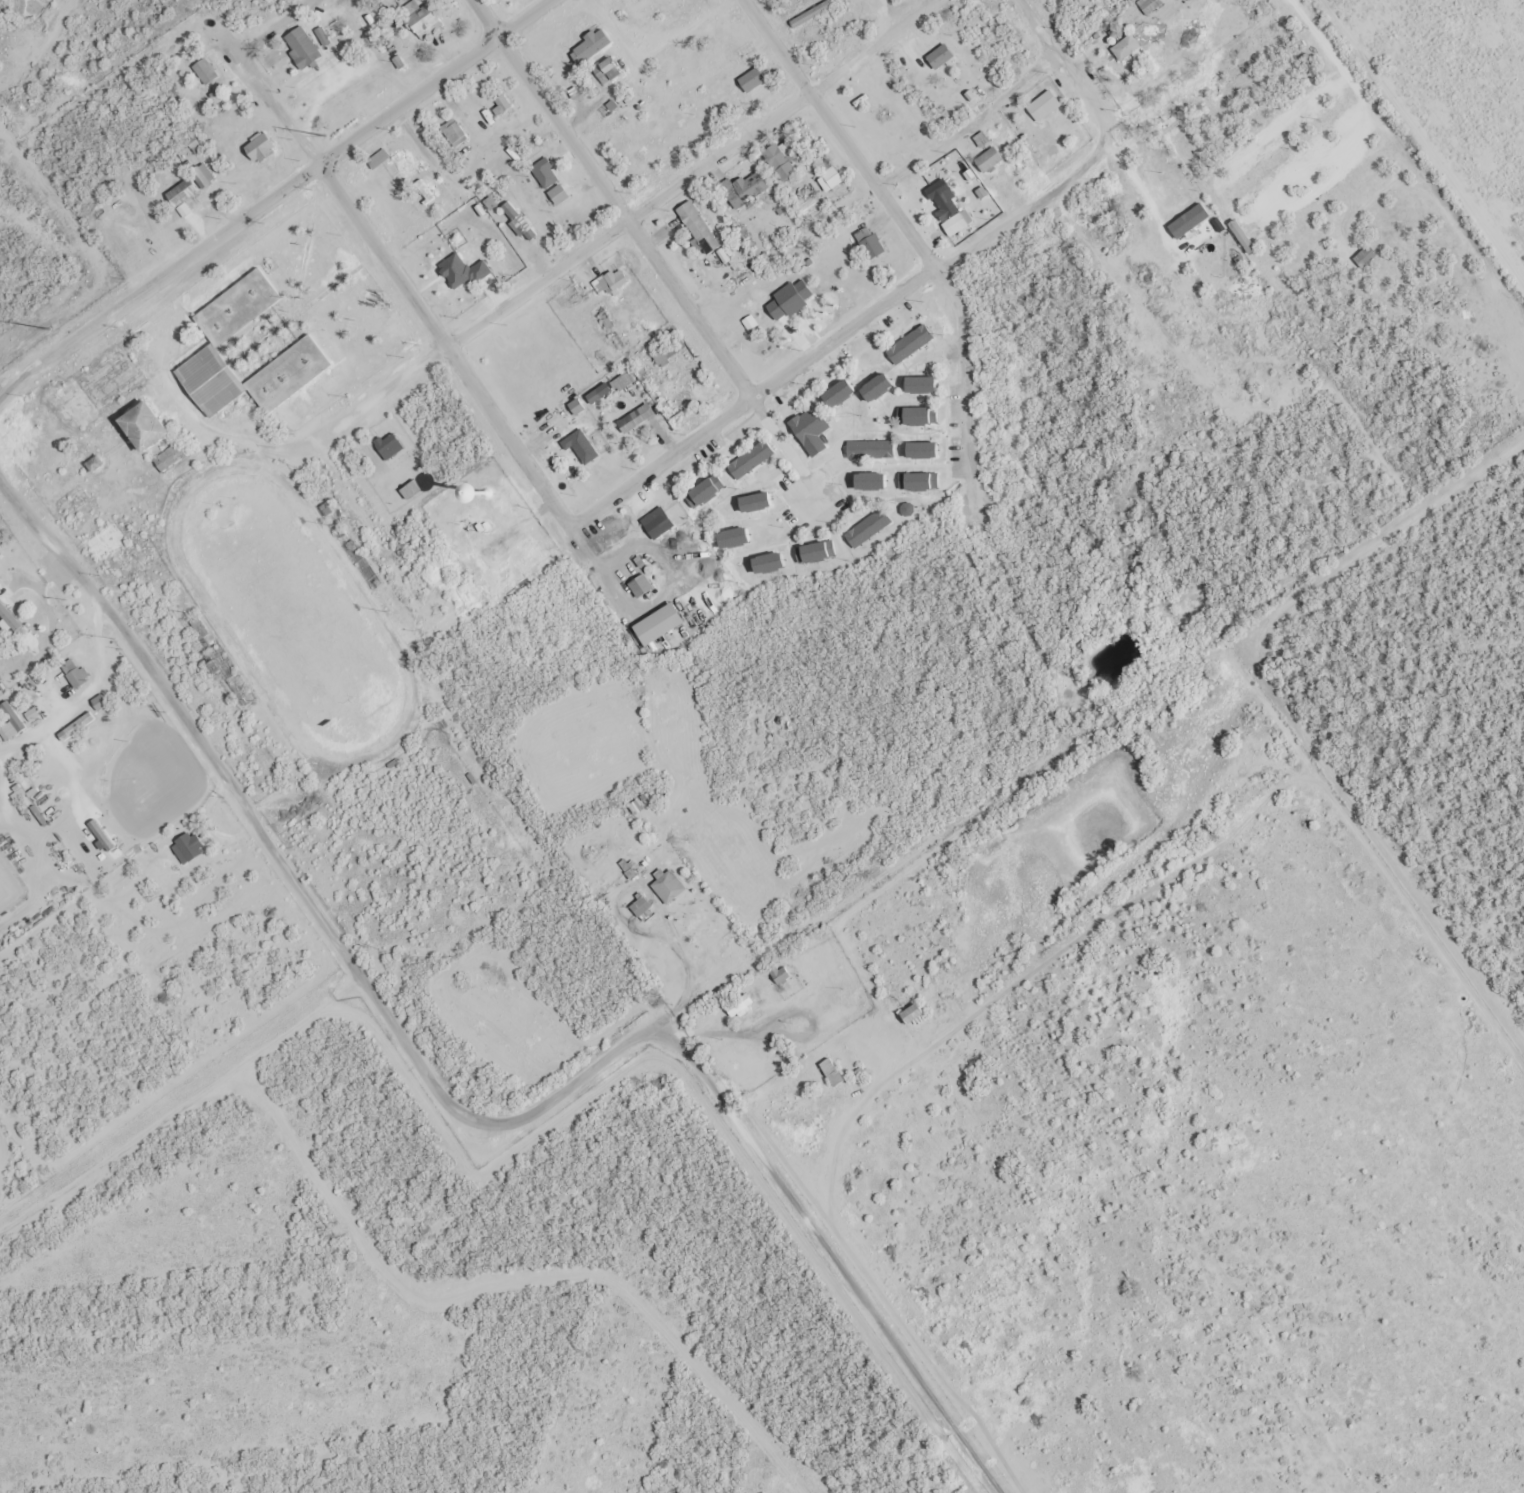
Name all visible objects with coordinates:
road: (925, 10)
building: (428, 22)
building: (596, 46)
building: (306, 48)
building: (1128, 48)
road: (1063, 54)
building: (943, 58)
building: (614, 69)
building: (756, 80)
building: (1046, 106)
road: (305, 126)
building: (457, 133)
road: (983, 134)
power tower: (327, 137)
building: (784, 154)
building: (381, 160)
building: (992, 161)
building: (833, 175)
building: (558, 182)
road: (296, 184)
building: (748, 189)
building: (185, 193)
road: (621, 200)
building: (951, 216)
road: (629, 224)
building: (701, 228)
road: (922, 243)
building: (871, 244)
building: (613, 282)
building: (794, 300)
road: (437, 322)
power tower: (52, 330)
building: (913, 345)
road: (780, 384)
building: (216, 385)
building: (927, 386)
building: (883, 388)
building: (707, 393)
building: (844, 395)
building: (921, 417)
building: (639, 419)
building: (154, 427)
building: (814, 432)
road: (781, 443)
building: (392, 447)
building: (583, 447)
building: (874, 451)
building: (927, 452)
building: (174, 459)
building: (755, 460)
building: (875, 483)
building: (921, 483)
building: (712, 491)
building: (762, 504)
building: (660, 523)
building: (871, 530)
building: (739, 539)
building: (775, 564)
building: (644, 587)
track: (293, 614)
building: (77, 674)
building: (102, 704)
building: (79, 727)
building: (192, 847)
road: (295, 873)
building: (670, 886)
building: (644, 907)
road: (789, 949)
building: (744, 1007)
building: (917, 1014)
road: (725, 1096)
road: (181, 1098)

